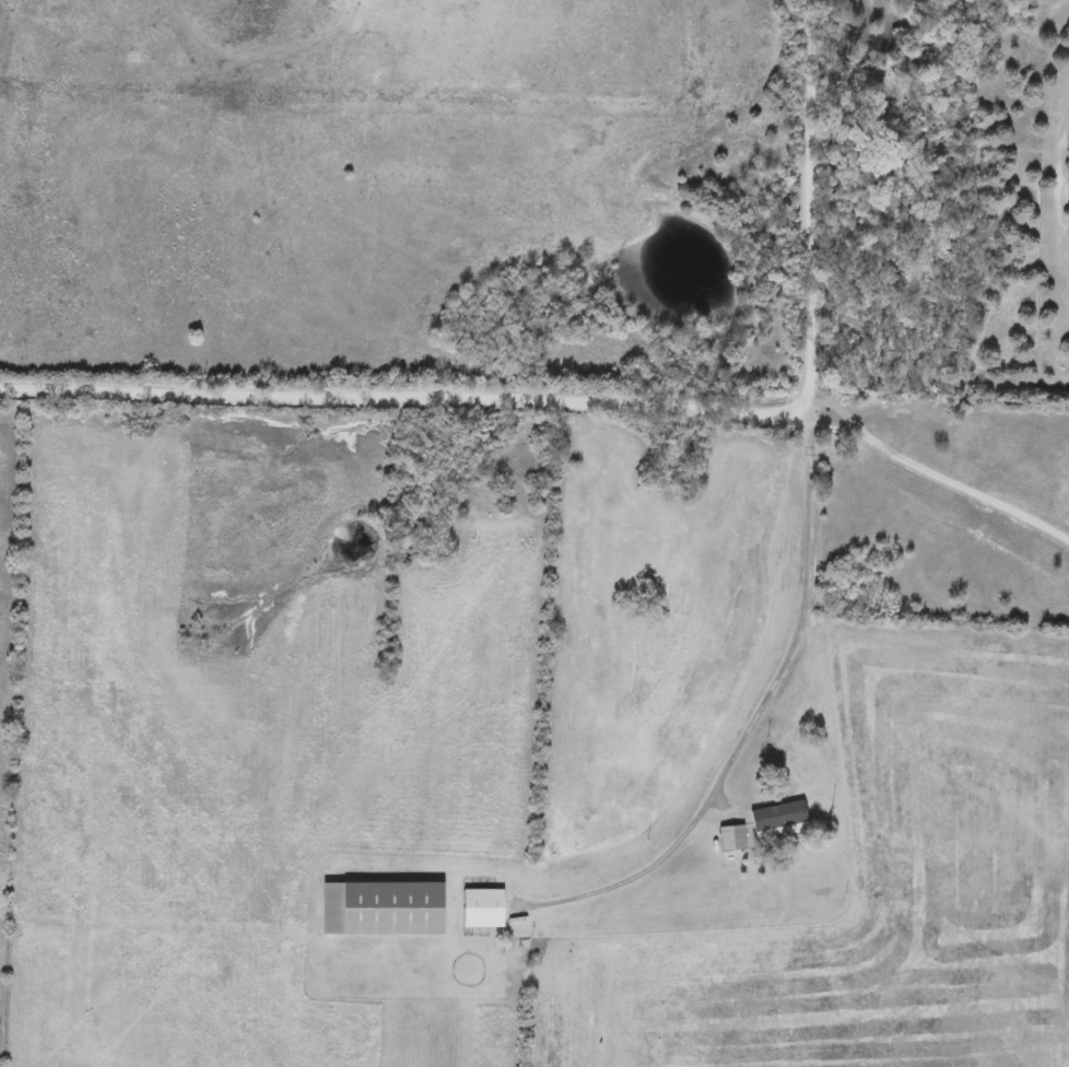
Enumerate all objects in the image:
road: (938, 375)
road: (600, 390)
road: (931, 465)
road: (750, 699)
building: (780, 821)
building: (732, 839)
building: (485, 908)
building: (387, 910)

